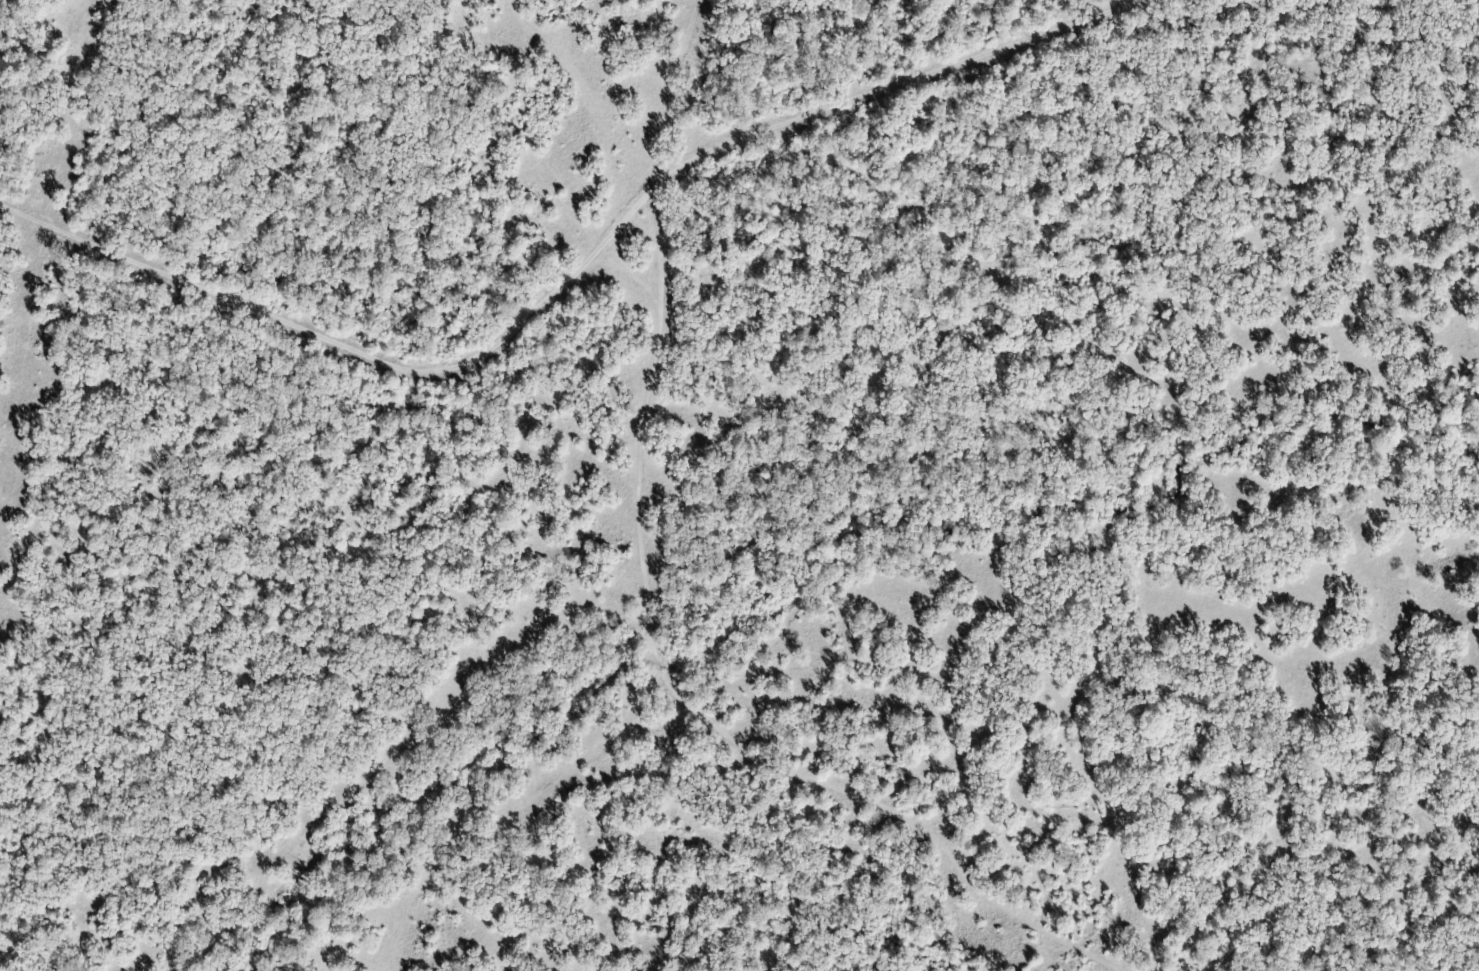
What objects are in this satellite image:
road: (333, 372)

